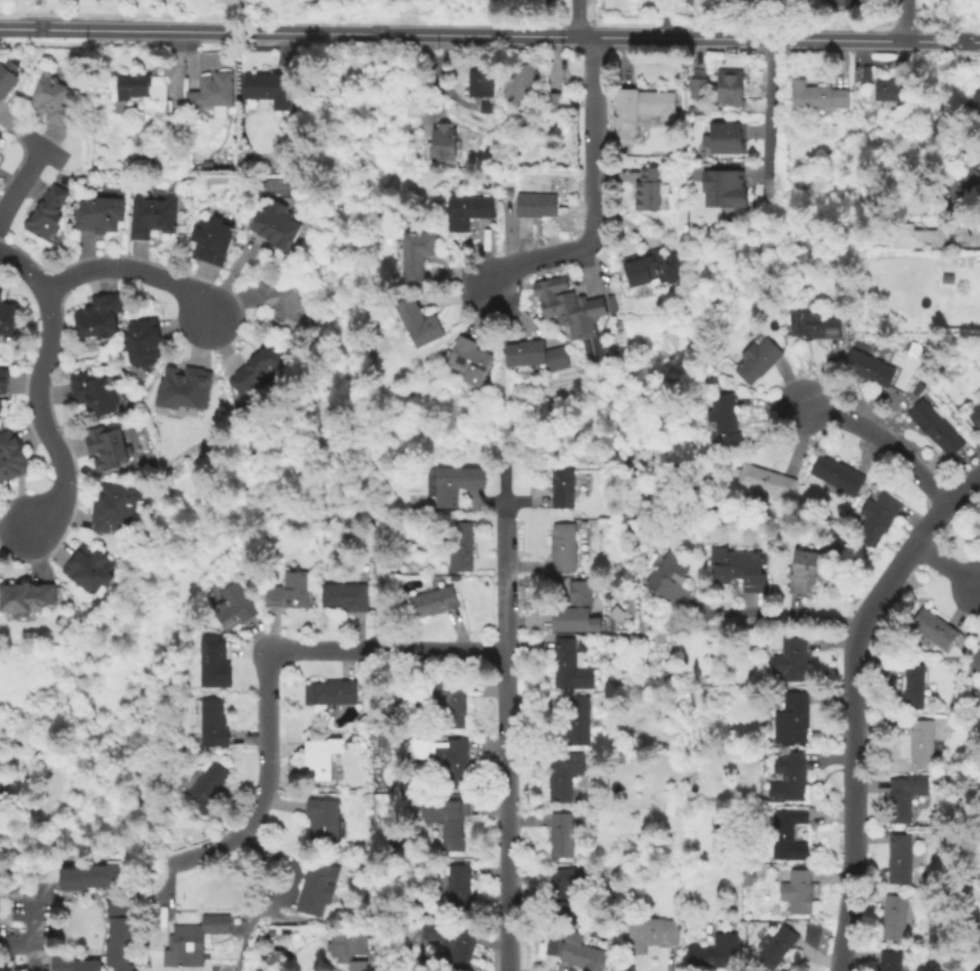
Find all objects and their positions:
building: (852, 4)
park: (266, 7)
road: (195, 15)
road: (577, 19)
road: (714, 19)
road: (905, 20)
road: (592, 28)
road: (489, 36)
building: (10, 73)
building: (867, 75)
building: (480, 79)
building: (519, 80)
building: (728, 84)
building: (141, 85)
building: (699, 86)
building: (268, 87)
building: (888, 89)
building: (213, 90)
building: (58, 95)
building: (817, 95)
building: (645, 99)
building: (551, 100)
building: (976, 104)
road: (769, 105)
building: (488, 109)
building: (2, 134)
building: (727, 136)
building: (440, 141)
building: (94, 170)
building: (963, 181)
road: (19, 187)
building: (646, 187)
building: (723, 187)
road: (596, 195)
building: (537, 203)
building: (465, 209)
building: (50, 213)
building: (101, 213)
building: (154, 214)
building: (276, 224)
building: (915, 234)
building: (210, 239)
road: (978, 246)
building: (414, 252)
road: (24, 265)
building: (645, 265)
road: (87, 271)
building: (947, 277)
road: (177, 285)
building: (283, 305)
building: (578, 306)
building: (8, 315)
building: (101, 315)
building: (415, 319)
building: (816, 324)
building: (143, 342)
building: (535, 353)
building: (469, 357)
building: (758, 359)
building: (869, 366)
building: (257, 369)
building: (5, 379)
building: (185, 388)
building: (94, 393)
building: (977, 394)
building: (1, 404)
road: (41, 414)
building: (975, 415)
building: (724, 419)
building: (935, 426)
road: (884, 441)
building: (107, 446)
building: (12, 456)
building: (838, 474)
building: (766, 480)
building: (455, 482)
building: (562, 487)
building: (115, 506)
building: (880, 513)
building: (979, 528)
building: (460, 544)
building: (563, 547)
building: (91, 567)
building: (807, 567)
road: (948, 567)
building: (741, 568)
building: (669, 576)
building: (288, 590)
building: (347, 593)
building: (26, 596)
building: (433, 599)
building: (234, 604)
building: (579, 604)
road: (782, 616)
building: (573, 619)
building: (934, 627)
road: (391, 651)
building: (791, 658)
building: (976, 659)
building: (210, 660)
building: (571, 665)
building: (915, 684)
building: (331, 691)
building: (451, 702)
road: (854, 704)
building: (794, 716)
building: (579, 719)
building: (213, 722)
road: (506, 744)
building: (922, 744)
road: (268, 748)
building: (320, 756)
building: (620, 756)
building: (458, 763)
building: (564, 773)
building: (788, 776)
building: (206, 785)
building: (905, 795)
building: (2, 804)
building: (324, 816)
building: (451, 822)
building: (789, 833)
building: (562, 834)
road: (130, 850)
road: (209, 851)
building: (900, 858)
road: (49, 865)
building: (92, 875)
building: (460, 881)
building: (317, 886)
road: (16, 887)
building: (566, 889)
building: (797, 889)
road: (1, 894)
road: (261, 900)
building: (895, 916)
building: (654, 928)
road: (28, 934)
building: (121, 935)
building: (194, 942)
building: (455, 942)
building: (776, 946)
building: (350, 948)
building: (719, 950)
building: (581, 951)
building: (890, 960)
building: (75, 963)

